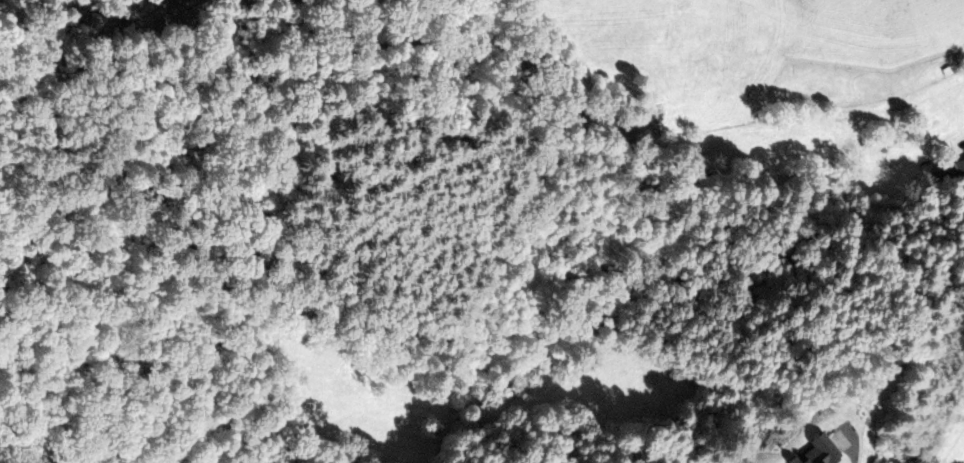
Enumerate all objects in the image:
building: (950, 169)
building: (818, 451)

